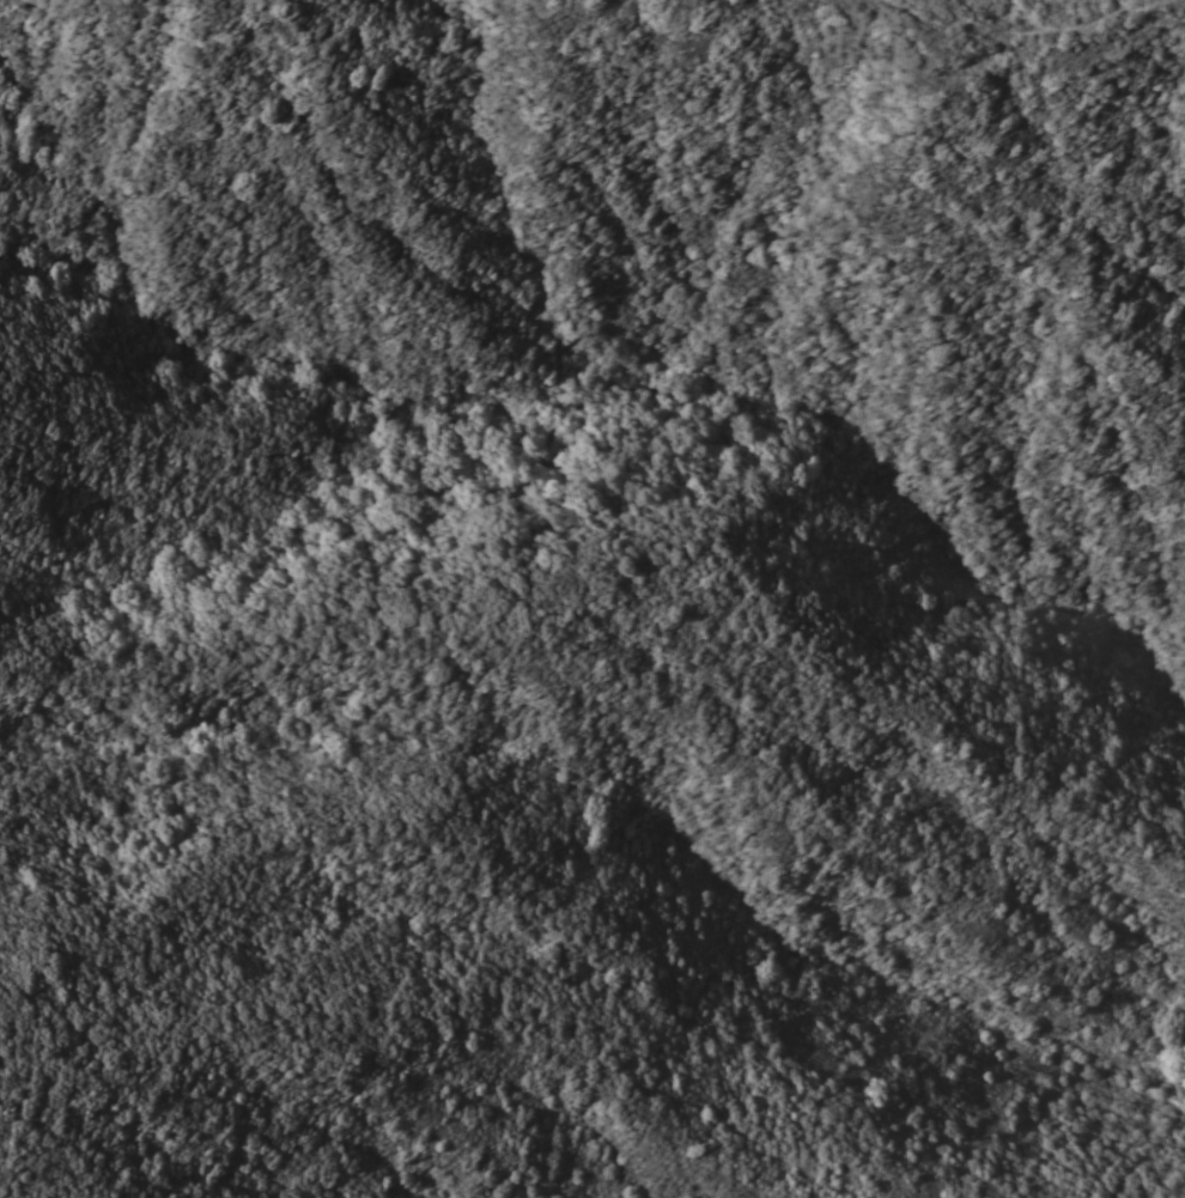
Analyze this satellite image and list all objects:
road: (962, 151)

